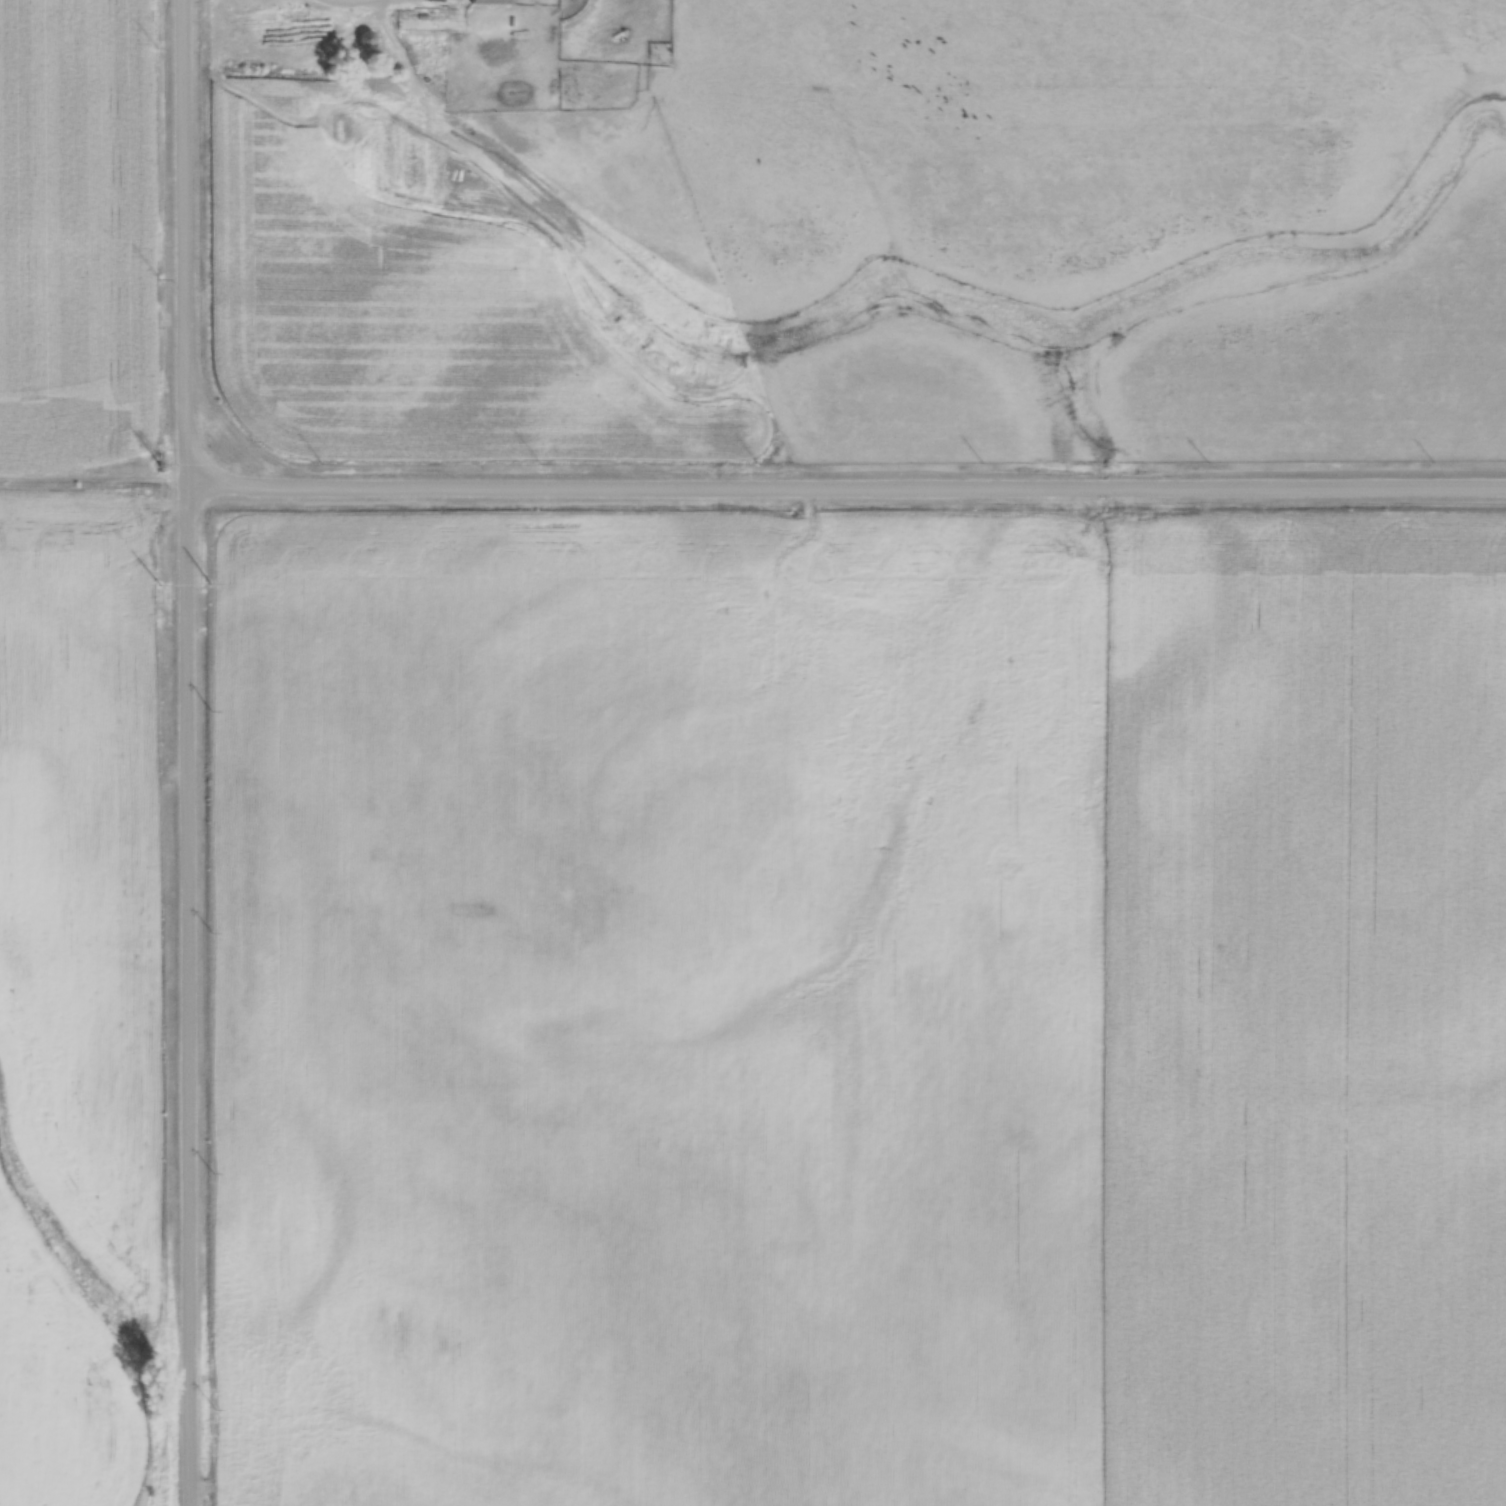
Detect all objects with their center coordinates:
building: (490, 1)
building: (367, 37)
power tower: (158, 463)
road: (846, 487)
power tower: (159, 582)
power tower: (203, 582)
road: (188, 752)

